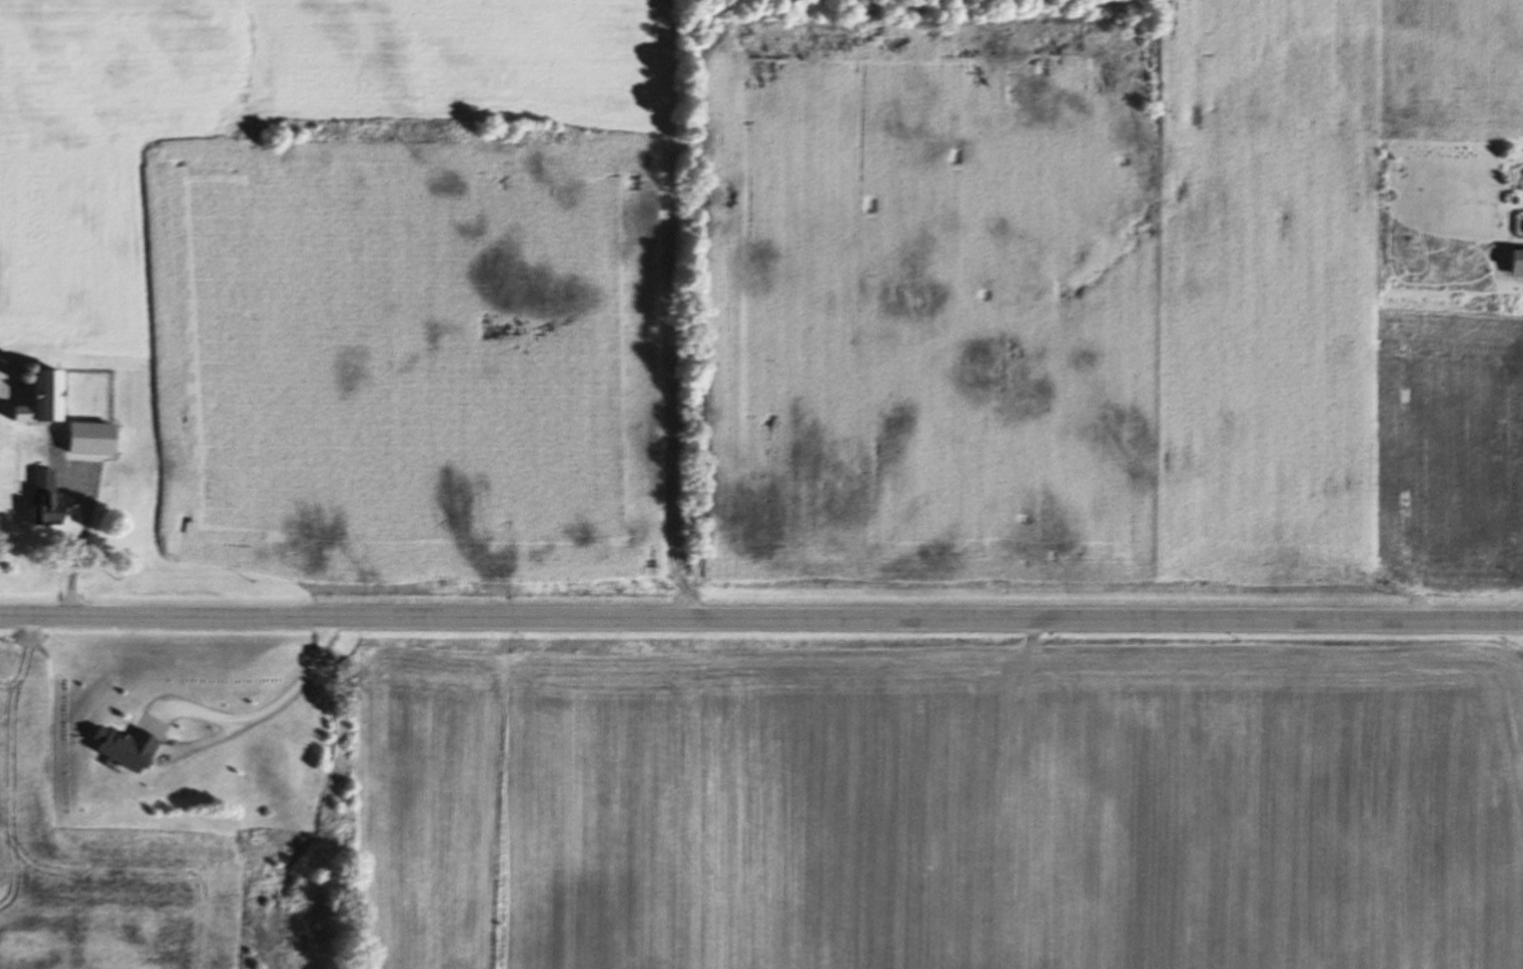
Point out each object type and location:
building: (1511, 262)
building: (47, 401)
building: (49, 501)
road: (761, 619)
building: (132, 746)

